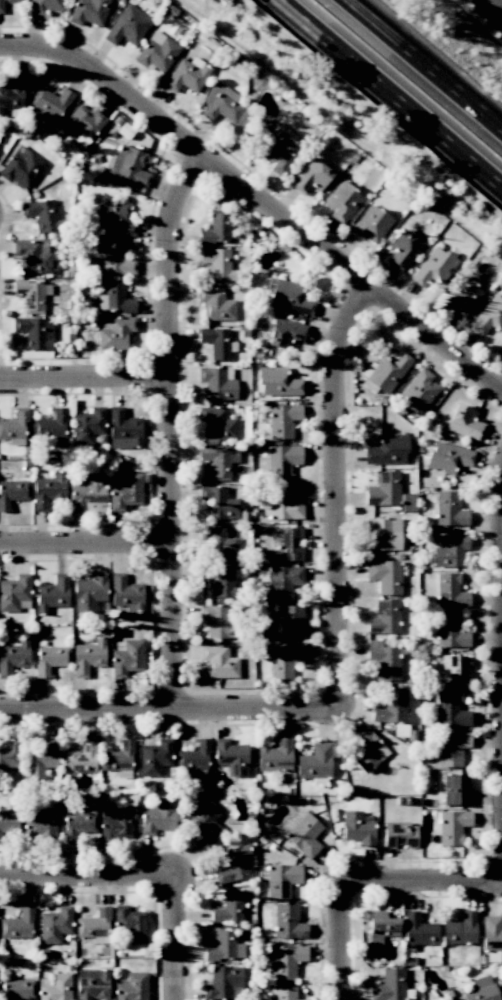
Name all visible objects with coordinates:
building: (46, 6)
building: (1, 7)
building: (89, 12)
building: (128, 26)
road: (29, 47)
building: (157, 52)
road: (425, 64)
building: (187, 75)
building: (12, 94)
road: (389, 94)
building: (50, 104)
building: (221, 104)
building: (82, 124)
building: (281, 149)
building: (130, 165)
building: (20, 168)
building: (310, 176)
building: (342, 202)
building: (42, 216)
building: (115, 219)
road: (277, 221)
building: (371, 224)
building: (215, 228)
building: (402, 249)
building: (33, 256)
building: (114, 259)
building: (216, 263)
building: (433, 266)
building: (32, 295)
building: (462, 296)
building: (289, 298)
building: (114, 299)
building: (215, 304)
building: (489, 316)
building: (115, 332)
building: (35, 333)
building: (286, 333)
building: (217, 343)
building: (384, 373)
road: (86, 376)
building: (277, 382)
building: (217, 383)
building: (419, 390)
building: (282, 420)
building: (216, 423)
building: (464, 423)
building: (14, 425)
building: (50, 425)
building: (89, 427)
building: (123, 430)
road: (172, 431)
building: (387, 451)
building: (448, 457)
building: (219, 461)
building: (282, 461)
building: (384, 489)
building: (48, 491)
building: (126, 492)
building: (12, 493)
building: (88, 493)
road: (335, 495)
building: (408, 502)
building: (218, 503)
building: (283, 504)
building: (449, 509)
building: (382, 534)
building: (220, 543)
building: (289, 544)
road: (87, 550)
building: (449, 550)
building: (385, 576)
building: (218, 580)
building: (283, 581)
building: (450, 591)
building: (89, 592)
building: (14, 593)
building: (124, 593)
building: (52, 594)
building: (384, 617)
building: (289, 621)
building: (218, 622)
building: (451, 631)
building: (13, 656)
building: (88, 657)
building: (128, 658)
building: (50, 659)
building: (284, 660)
building: (383, 660)
building: (218, 662)
building: (452, 671)
building: (392, 707)
road: (169, 709)
building: (450, 711)
building: (451, 748)
building: (367, 751)
building: (276, 756)
building: (155, 757)
building: (231, 757)
building: (40, 758)
building: (194, 759)
building: (79, 760)
building: (118, 760)
building: (316, 761)
building: (454, 789)
building: (157, 816)
building: (9, 820)
building: (115, 823)
building: (41, 824)
building: (205, 824)
building: (77, 825)
building: (452, 826)
building: (357, 828)
building: (303, 834)
building: (399, 834)
building: (232, 864)
road: (86, 878)
building: (281, 880)
road: (423, 885)
building: (228, 908)
building: (288, 922)
building: (130, 924)
building: (17, 925)
building: (54, 925)
building: (93, 926)
building: (380, 927)
building: (460, 929)
building: (418, 930)
road: (174, 938)
building: (491, 938)
road: (344, 943)
building: (224, 946)
building: (287, 961)
building: (224, 983)
building: (91, 984)
building: (389, 985)
building: (132, 987)
building: (55, 988)
building: (17, 989)
building: (481, 989)
building: (284, 992)

